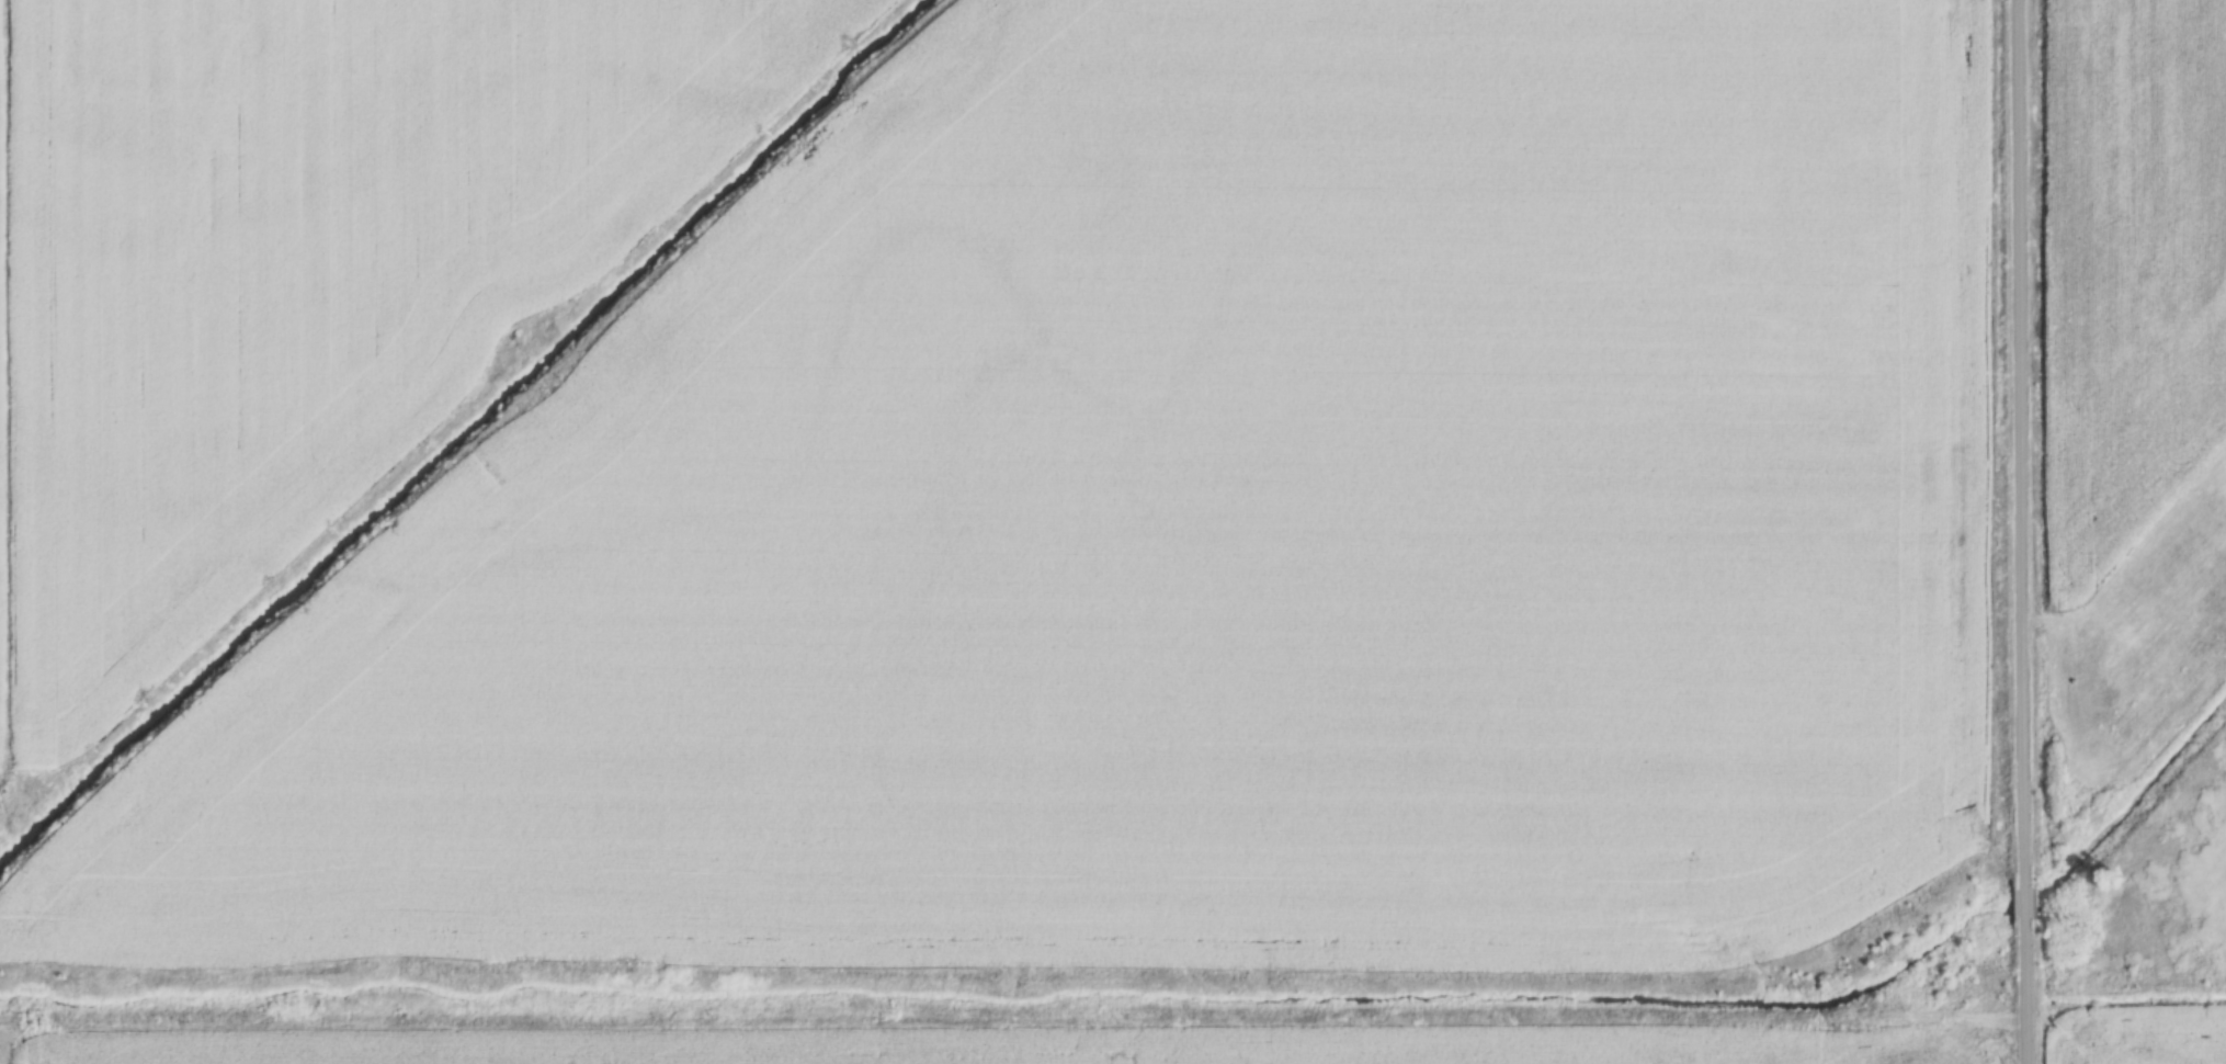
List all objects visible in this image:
road: (2022, 441)
crop: (2138, 529)
road: (2025, 902)
road: (2025, 992)

